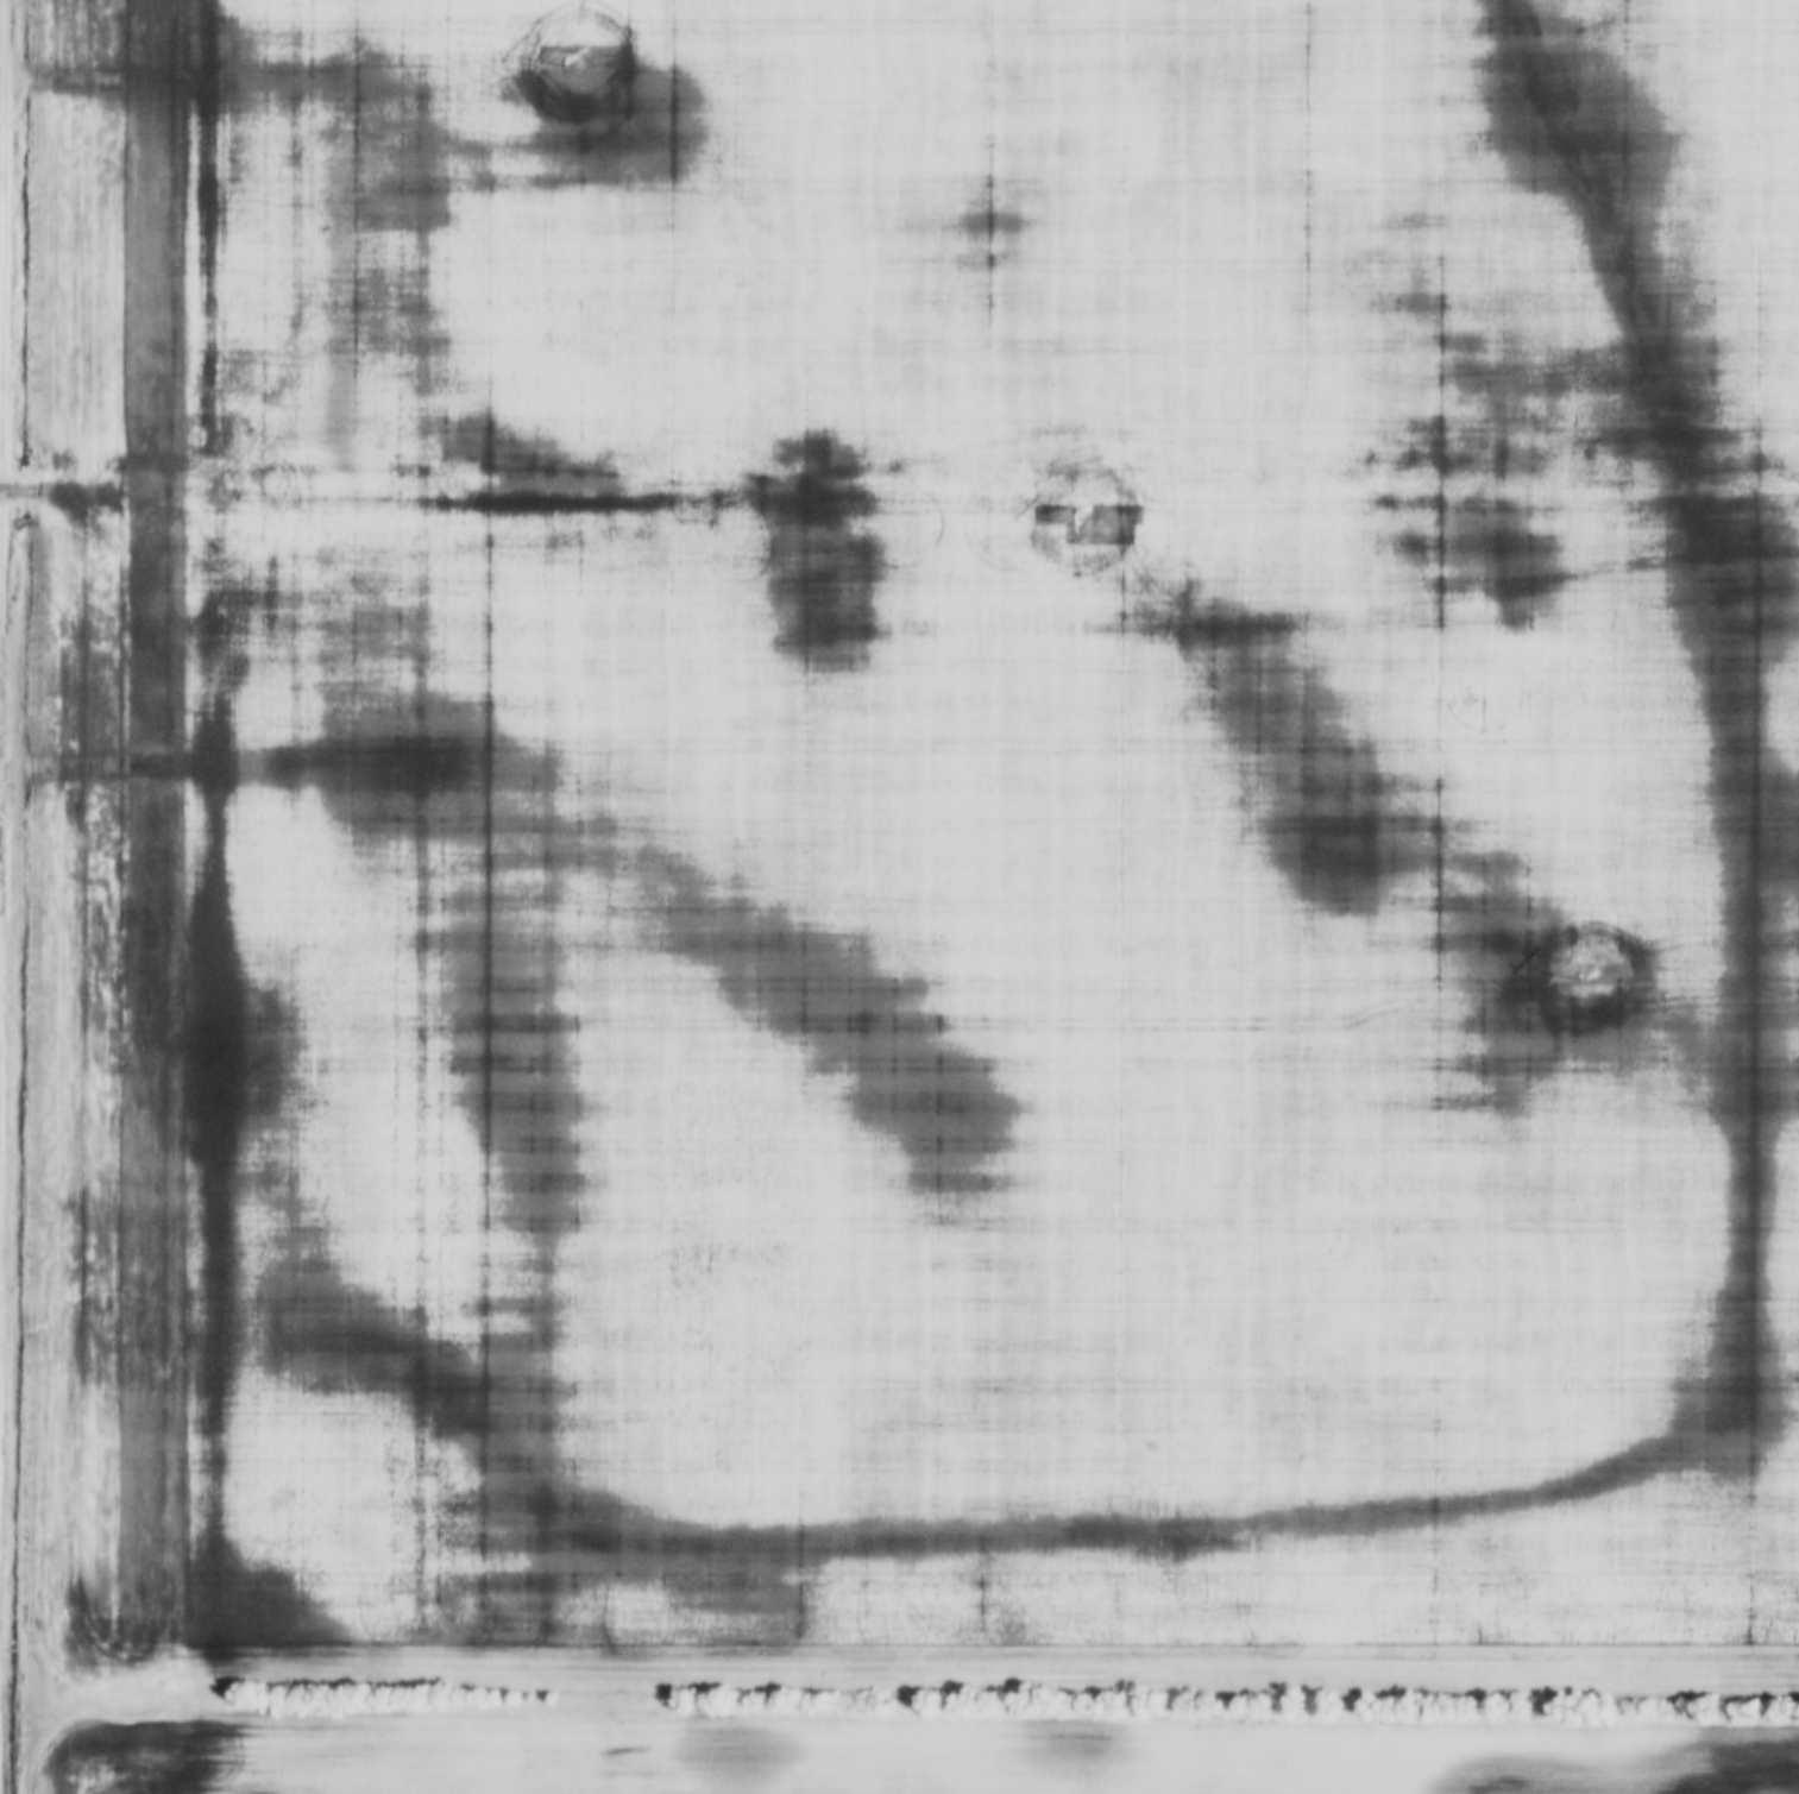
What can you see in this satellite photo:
power tower: (570, 61)
power tower: (1078, 521)
power tower: (1577, 974)

